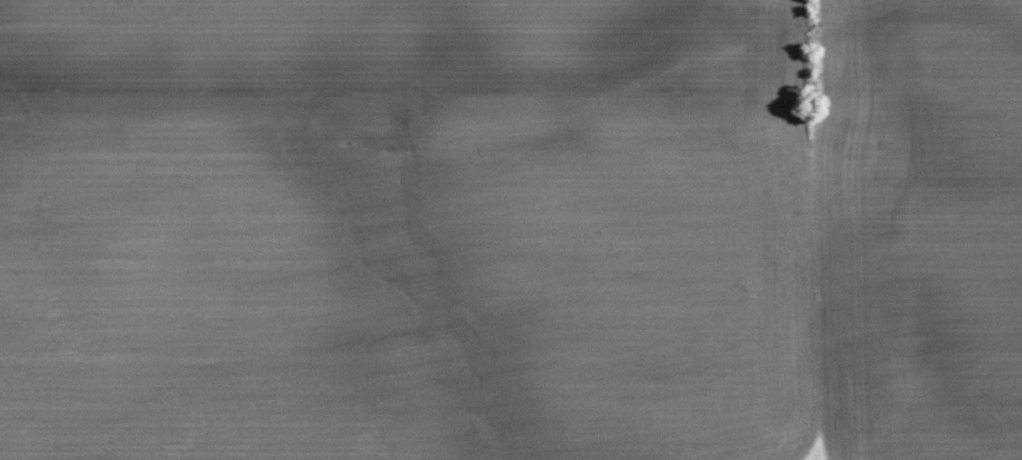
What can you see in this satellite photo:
crop: (400, 229)
crop: (915, 238)

